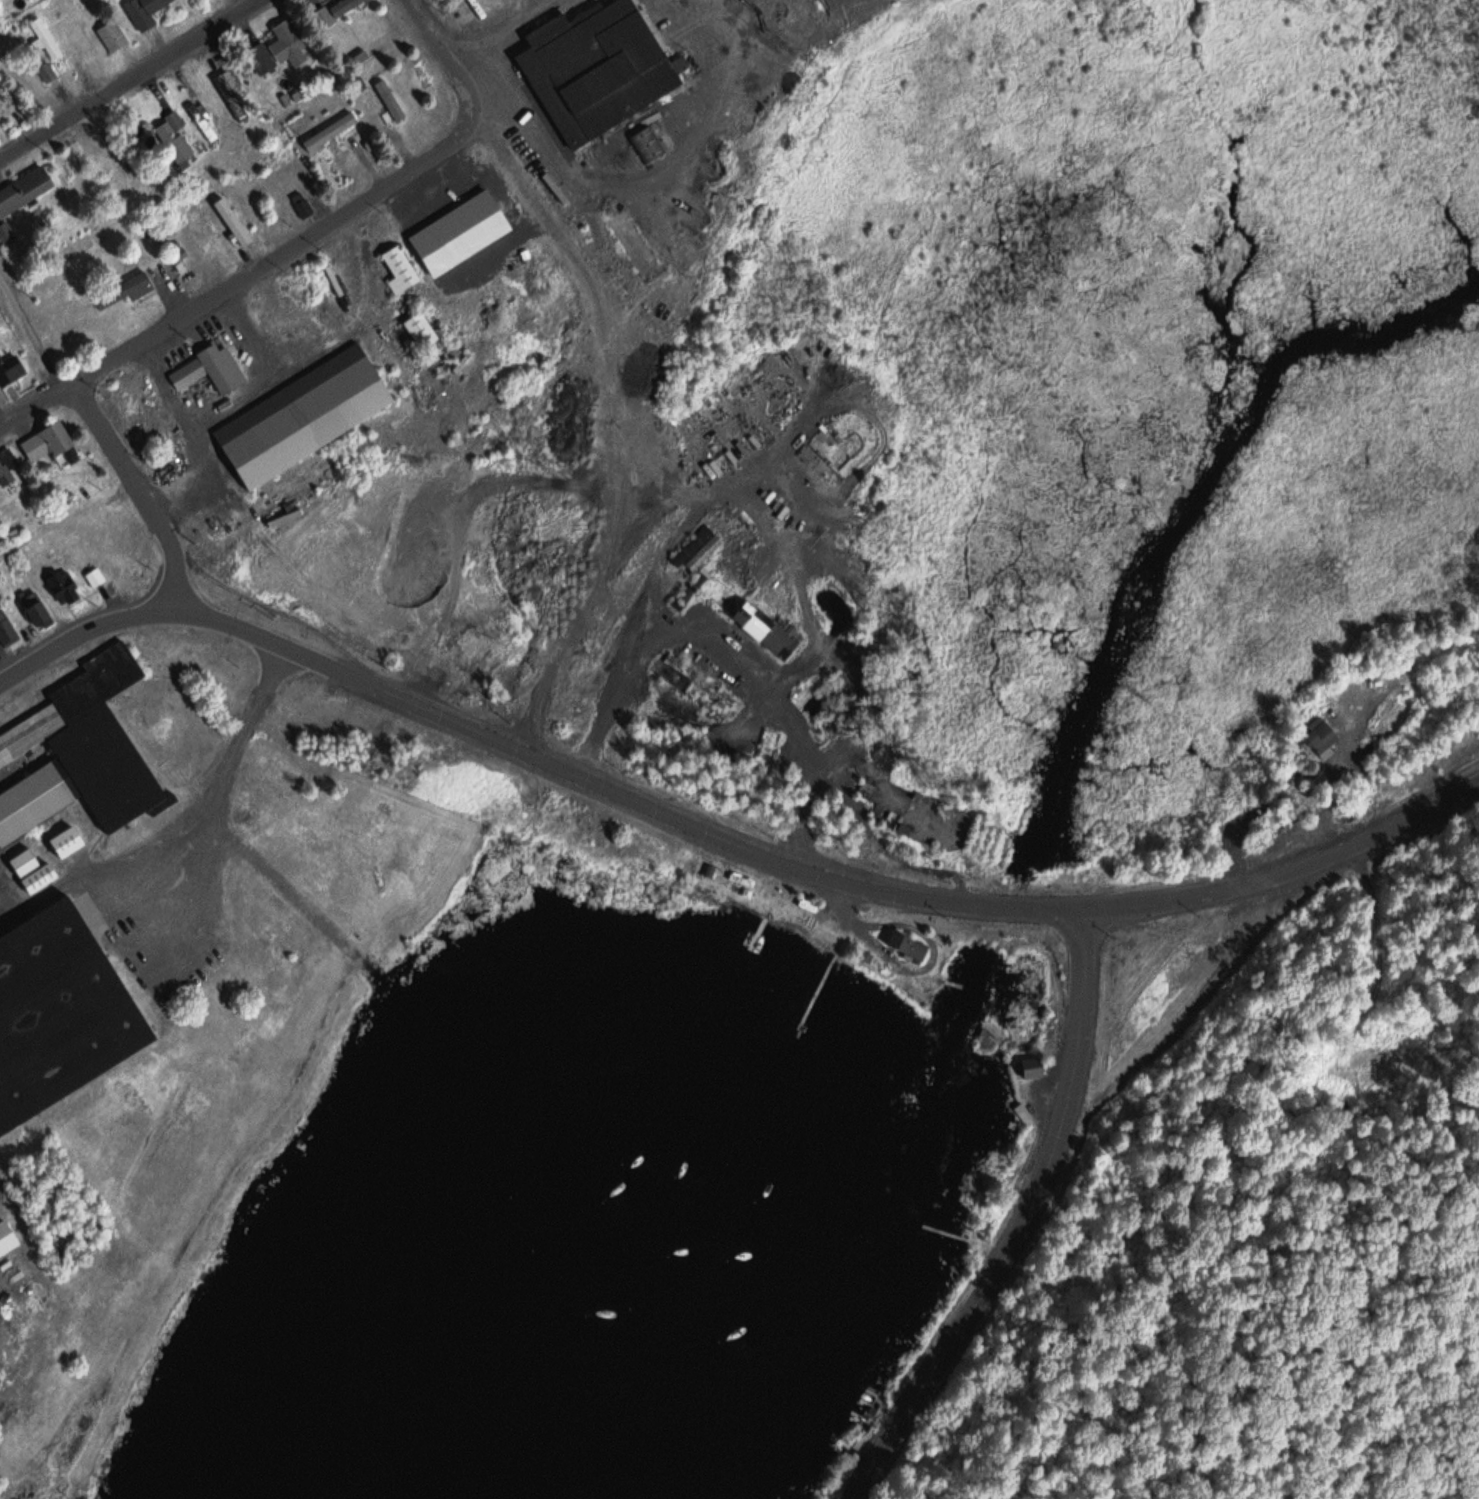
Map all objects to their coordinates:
building: (346, 6)
building: (146, 11)
building: (324, 16)
building: (115, 35)
building: (292, 38)
building: (46, 39)
building: (263, 57)
road: (452, 66)
building: (597, 71)
building: (48, 72)
road: (141, 75)
building: (236, 97)
building: (391, 99)
building: (206, 122)
building: (332, 131)
building: (173, 140)
building: (648, 144)
road: (10, 157)
building: (617, 180)
building: (25, 190)
building: (303, 203)
building: (231, 220)
building: (457, 231)
road: (268, 265)
building: (399, 268)
building: (125, 289)
building: (420, 329)
building: (208, 368)
building: (8, 370)
road: (35, 407)
building: (302, 419)
building: (45, 440)
building: (483, 441)
building: (4, 475)
road: (140, 492)
building: (689, 532)
building: (706, 555)
building: (94, 577)
building: (62, 586)
building: (697, 588)
building: (34, 608)
building: (768, 625)
building: (6, 630)
road: (89, 631)
building: (1319, 735)
building: (82, 751)
road: (578, 774)
road: (1337, 787)
building: (871, 788)
road: (193, 832)
building: (67, 839)
building: (26, 861)
road: (1295, 863)
building: (41, 876)
road: (1038, 908)
road: (855, 917)
building: (912, 944)
building: (59, 1012)
building: (1034, 1066)
road: (1028, 1224)
building: (8, 1237)

